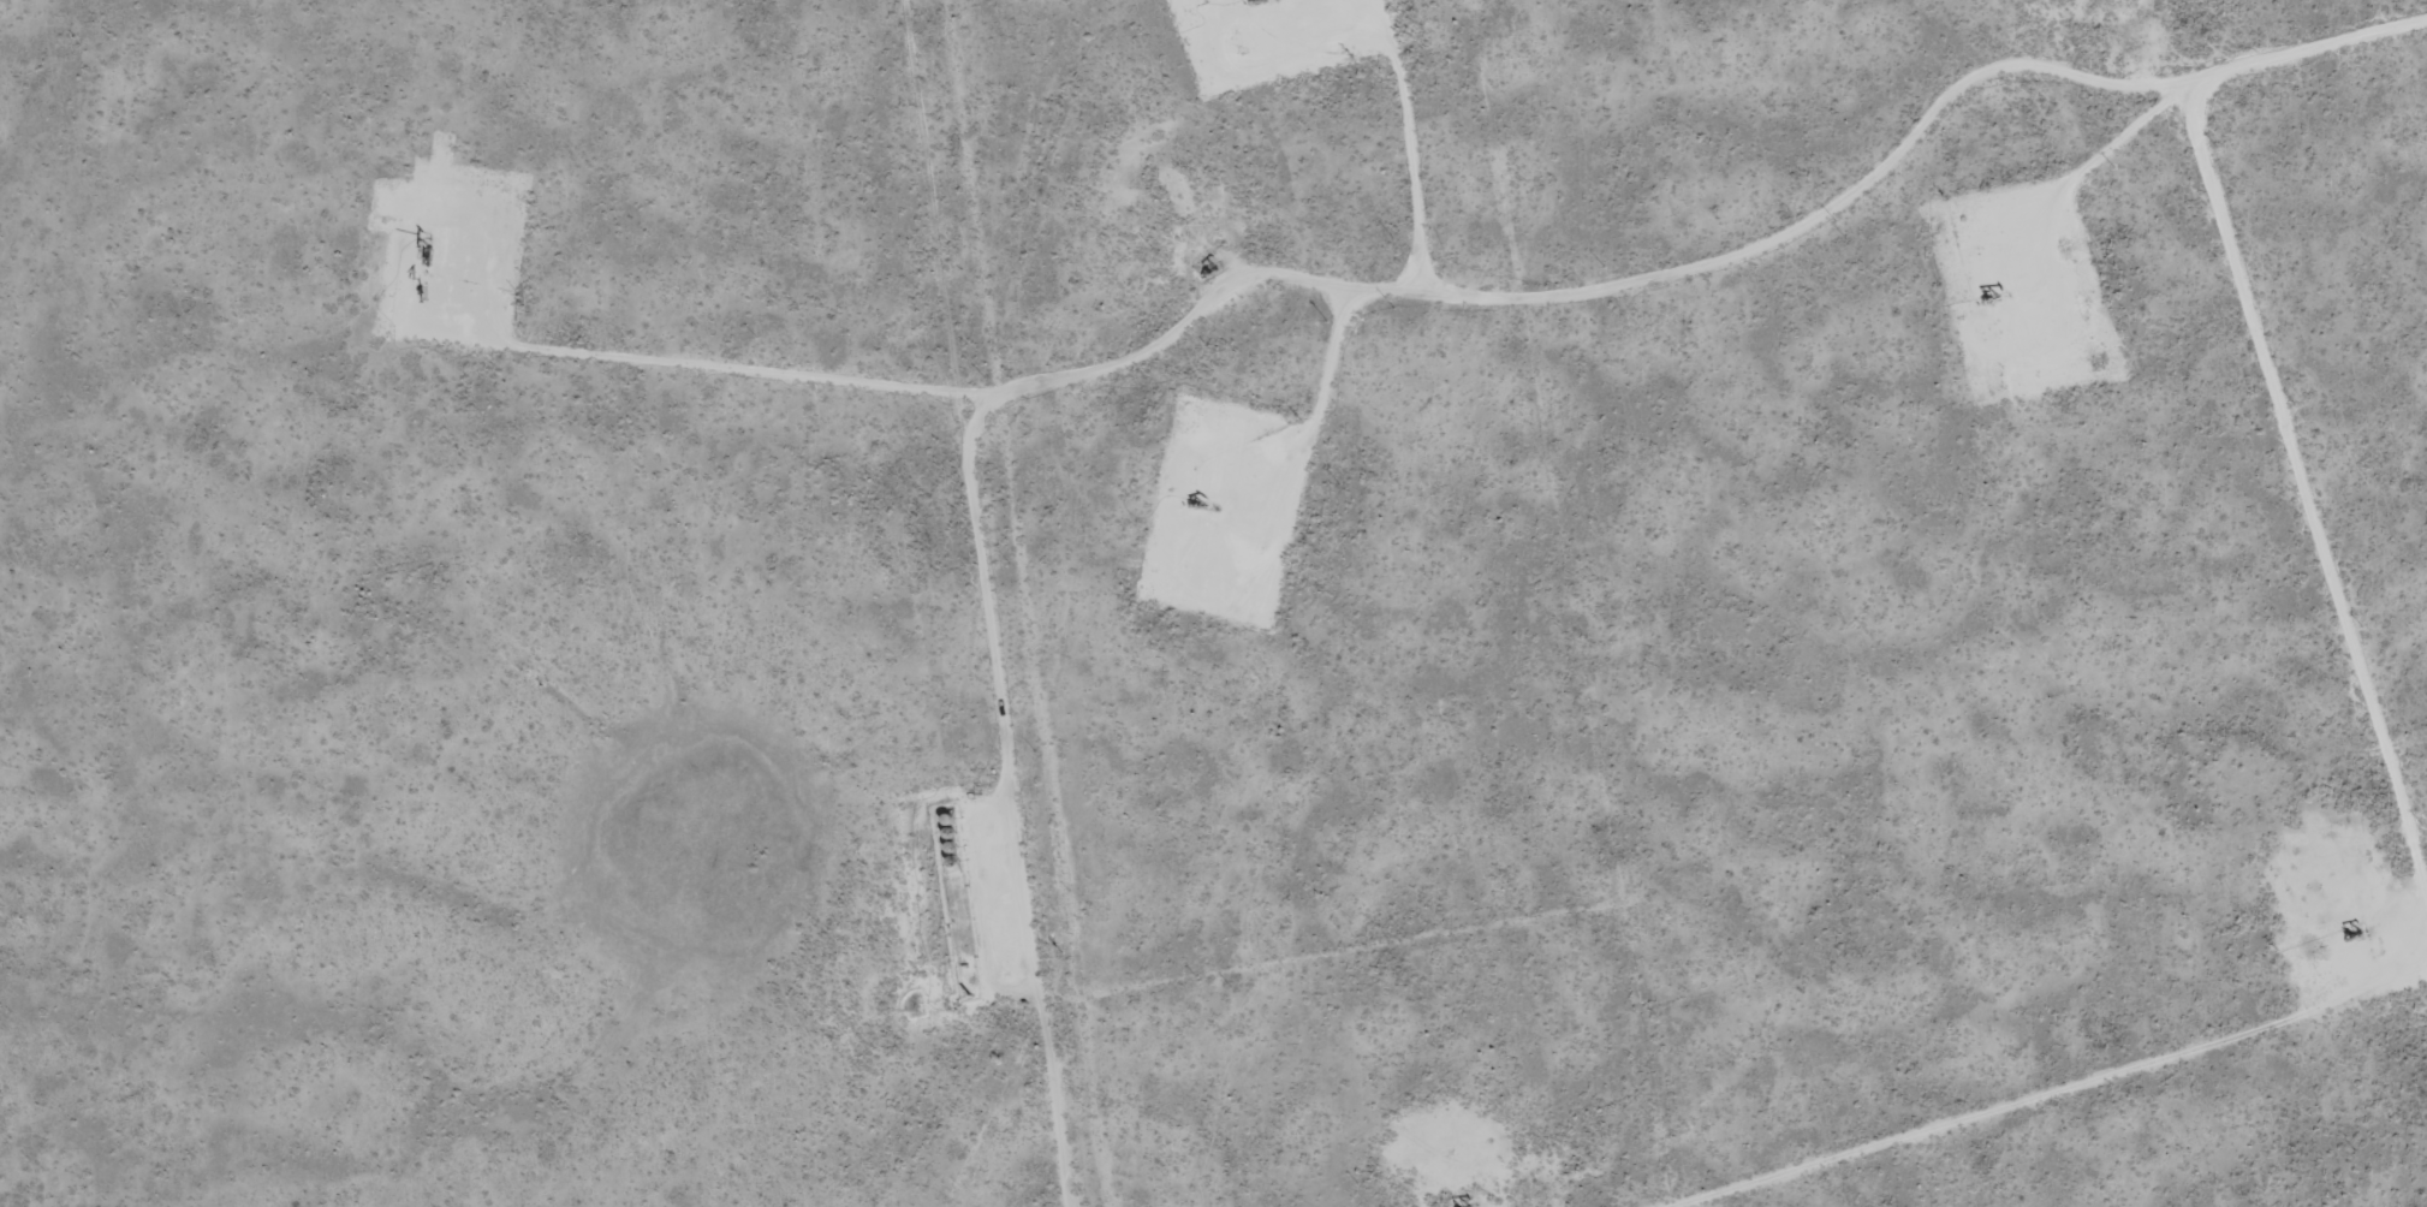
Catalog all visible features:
road: (1201, 304)
road: (2261, 380)

